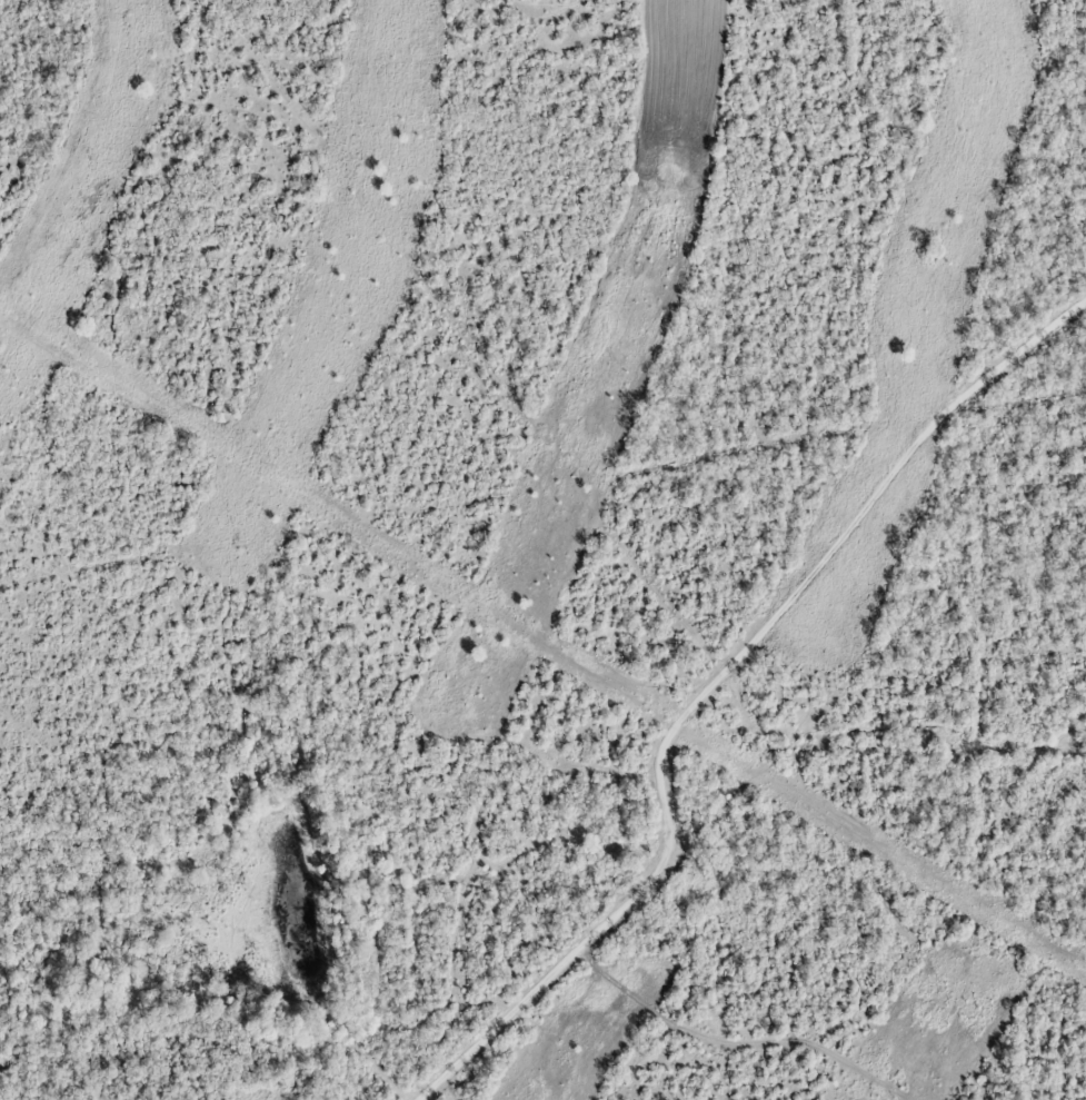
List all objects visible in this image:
road: (54, 626)

